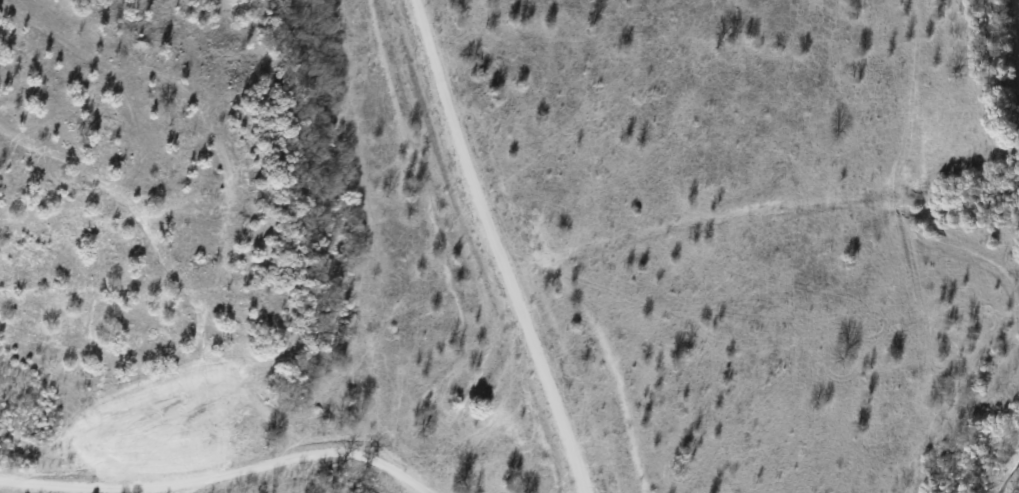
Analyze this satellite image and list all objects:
road: (496, 248)
road: (218, 471)

